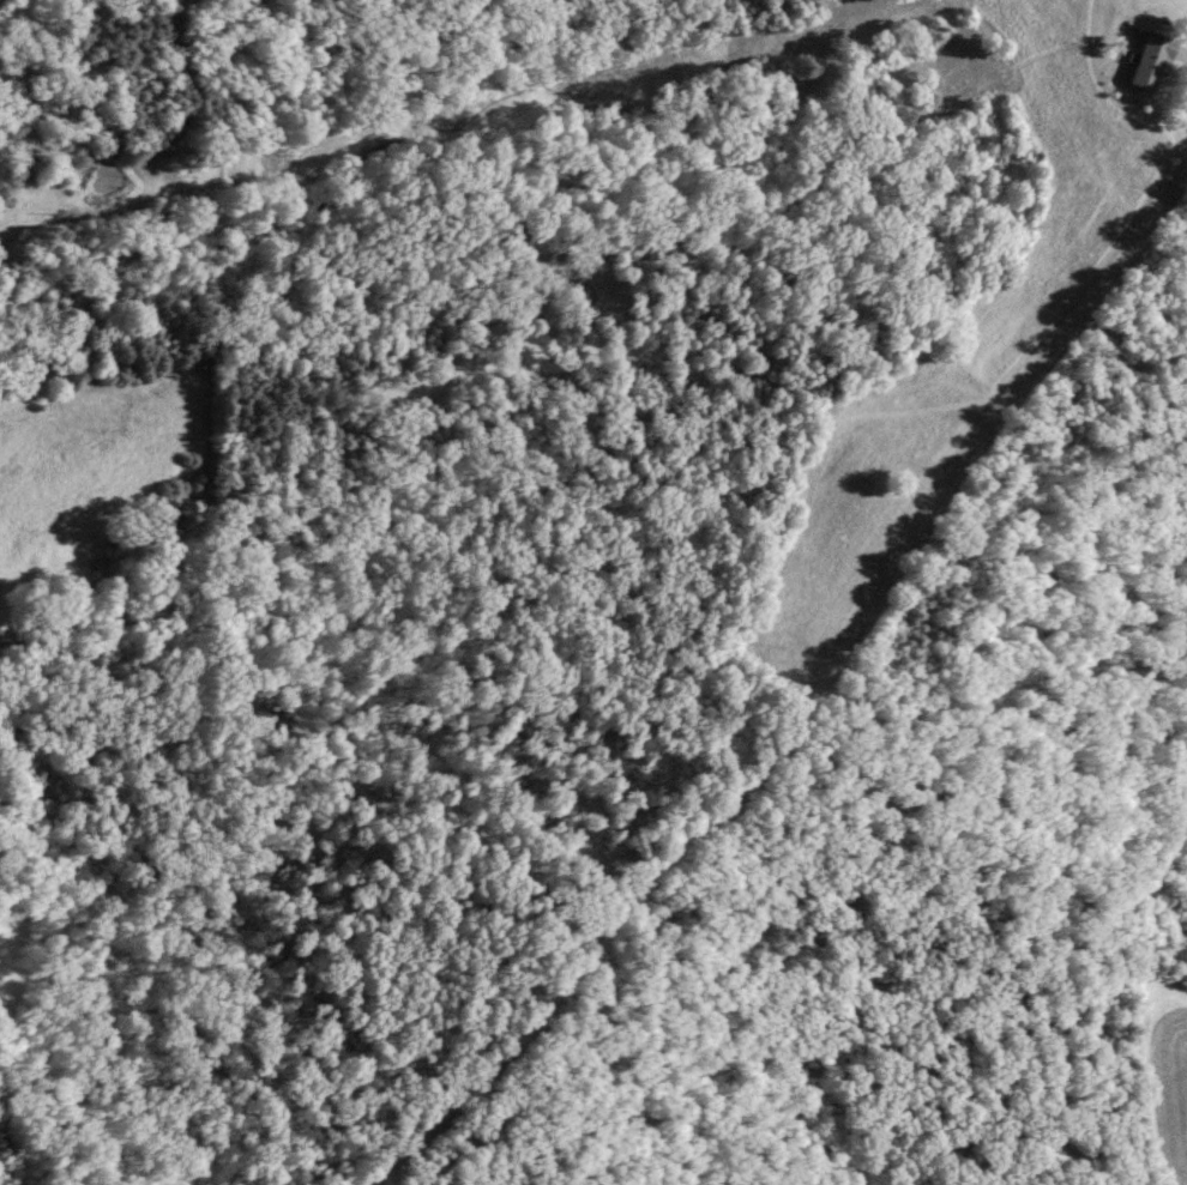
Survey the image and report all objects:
building: (1150, 62)
road: (809, 694)

